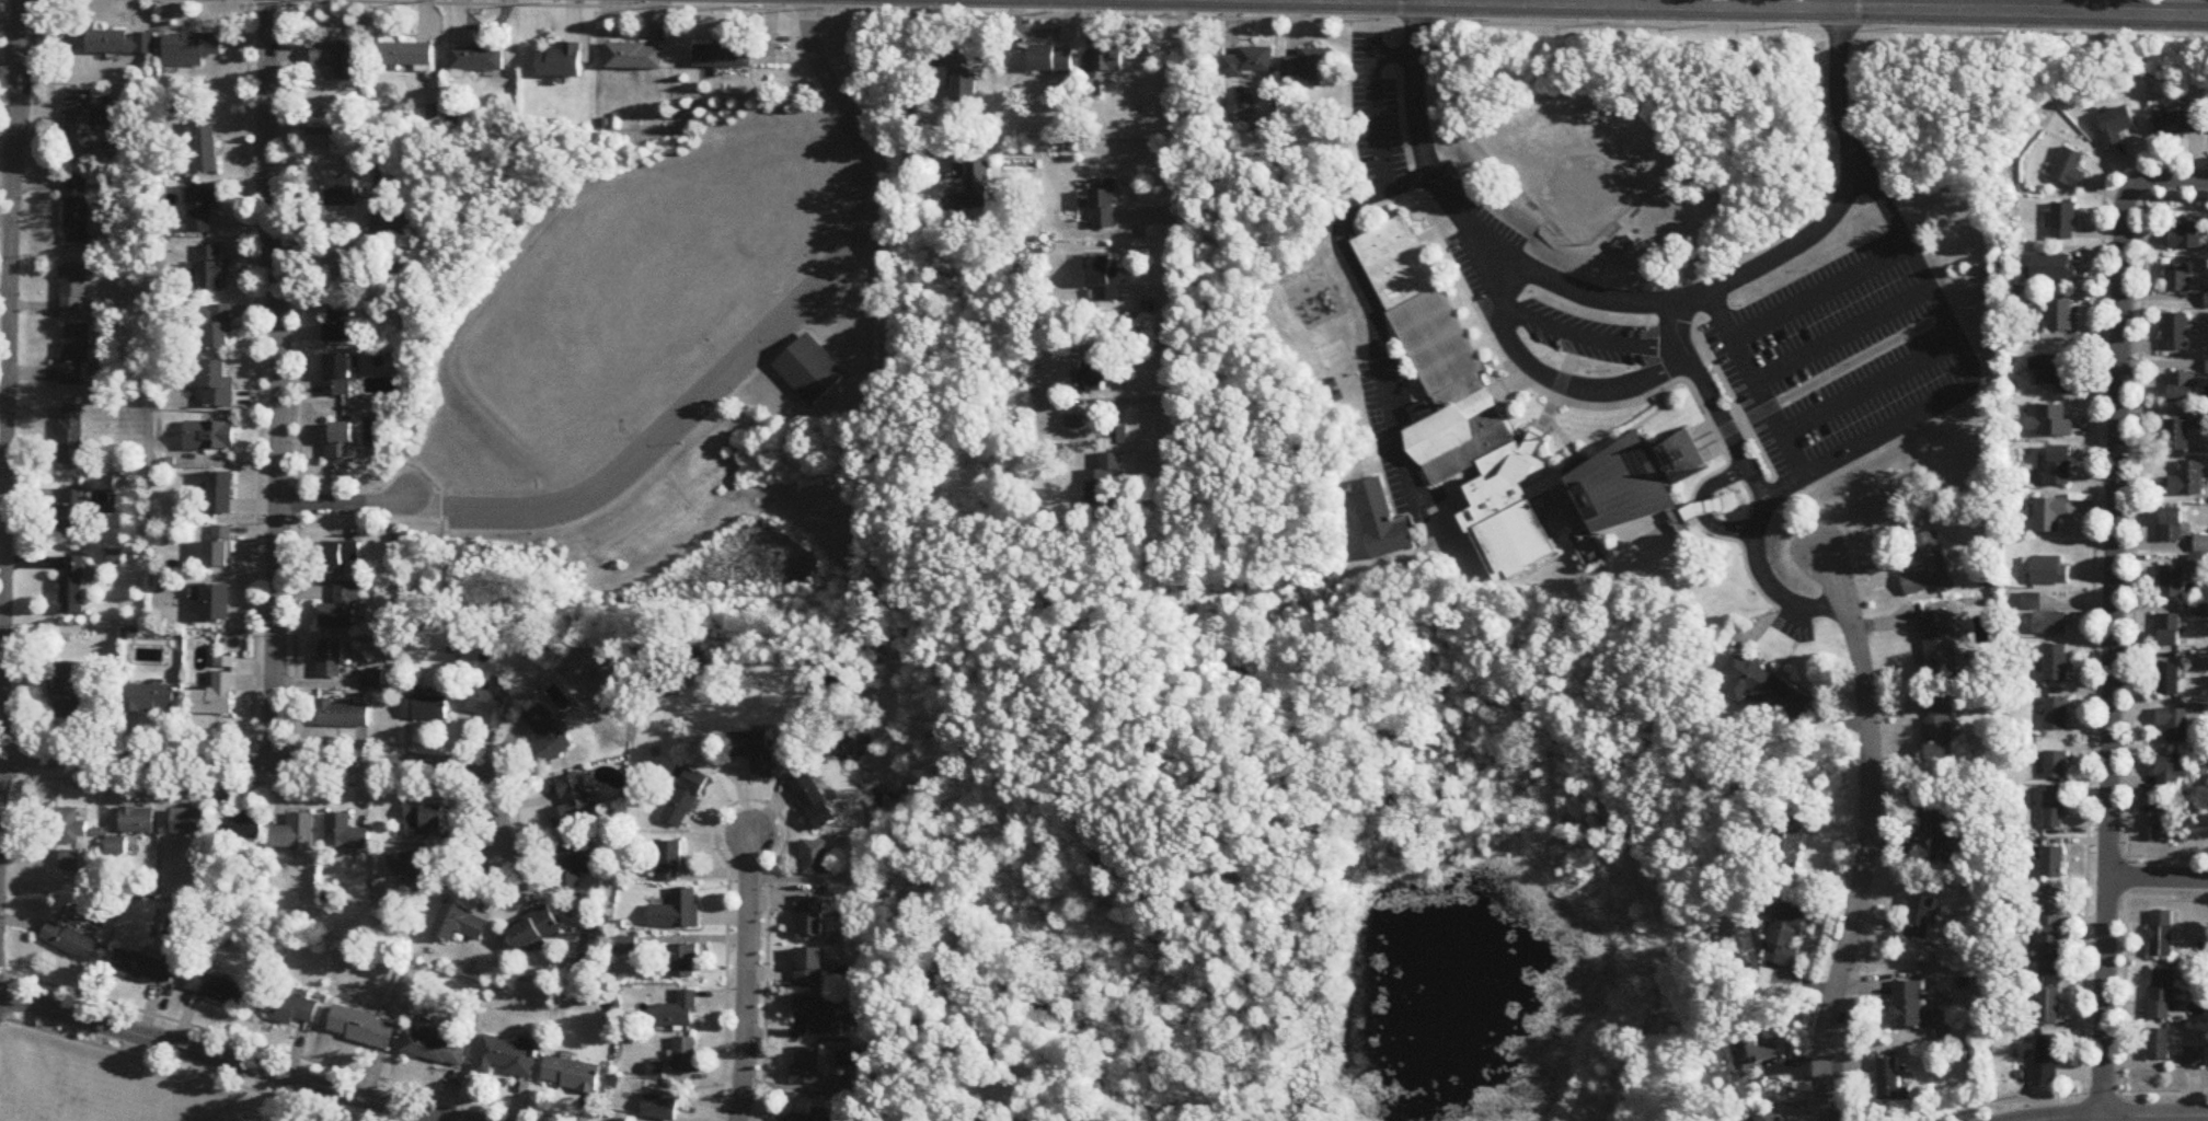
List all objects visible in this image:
road: (1393, 0)
road: (1774, 7)
road: (2044, 7)
road: (1237, 20)
building: (123, 42)
building: (192, 48)
building: (406, 56)
building: (723, 56)
building: (634, 57)
building: (340, 59)
building: (478, 59)
building: (1051, 59)
building: (1107, 60)
building: (561, 61)
building: (1249, 62)
building: (1308, 66)
building: (962, 76)
road: (910, 95)
building: (80, 122)
building: (2182, 123)
building: (2117, 126)
building: (207, 148)
building: (2071, 170)
road: (2169, 178)
building: (970, 188)
building: (344, 192)
road: (2167, 199)
building: (1103, 204)
road: (1187, 204)
building: (204, 208)
building: (78, 210)
building: (2065, 222)
building: (2187, 235)
building: (1624, 245)
road: (1344, 252)
building: (211, 267)
building: (2055, 268)
building: (1105, 279)
building: (2178, 279)
building: (74, 290)
road: (1820, 294)
building: (2207, 299)
road: (1642, 303)
building: (2060, 315)
building: (337, 325)
building: (220, 327)
building: (2176, 333)
road: (1842, 336)
road: (1591, 337)
road: (744, 344)
building: (76, 355)
building: (809, 370)
building: (2054, 372)
building: (341, 374)
building: (1099, 374)
road: (277, 380)
road: (1553, 380)
building: (218, 385)
road: (1757, 386)
road: (1871, 389)
building: (2182, 389)
road: (5, 394)
road: (1714, 405)
building: (2203, 418)
building: (1078, 421)
road: (1913, 421)
building: (2051, 423)
building: (1502, 427)
building: (71, 435)
building: (210, 437)
building: (2176, 437)
building: (340, 441)
building: (2060, 467)
building: (1105, 475)
building: (2189, 481)
building: (221, 493)
road: (346, 505)
building: (71, 512)
building: (2051, 515)
building: (1384, 522)
building: (2173, 525)
building: (220, 547)
building: (340, 555)
building: (1929, 566)
building: (2051, 570)
building: (2173, 582)
building: (73, 586)
road: (2094, 586)
building: (214, 601)
building: (342, 610)
building: (2201, 614)
building: (2046, 617)
building: (2171, 631)
road: (2134, 637)
building: (1940, 645)
road: (2113, 651)
building: (331, 659)
building: (2057, 663)
building: (373, 679)
building: (2169, 679)
building: (1764, 687)
building: (69, 691)
building: (216, 691)
building: (149, 698)
building: (491, 705)
building: (426, 708)
building: (2056, 713)
building: (343, 715)
building: (2176, 725)
building: (1940, 729)
building: (548, 736)
building: (756, 752)
road: (287, 762)
building: (2056, 765)
building: (2172, 773)
building: (687, 798)
building: (572, 801)
building: (813, 801)
building: (2055, 810)
building: (425, 820)
building: (138, 821)
building: (191, 823)
building: (2164, 823)
building: (242, 827)
building: (71, 828)
building: (1943, 830)
building: (296, 834)
building: (347, 834)
road: (1870, 835)
building: (1786, 842)
road: (2158, 857)
building: (816, 858)
building: (71, 860)
building: (671, 862)
building: (2052, 863)
building: (574, 864)
building: (419, 870)
road: (2158, 878)
road: (2157, 898)
building: (2051, 908)
building: (678, 911)
building: (812, 916)
building: (1920, 917)
building: (460, 924)
building: (534, 929)
building: (2162, 934)
building: (1787, 935)
building: (76, 944)
building: (625, 946)
building: (2050, 956)
building: (686, 961)
building: (147, 966)
building: (812, 967)
road: (750, 979)
building: (217, 989)
building: (2162, 995)
building: (1909, 1005)
building: (2049, 1006)
building: (290, 1008)
building: (679, 1012)
building: (820, 1014)
building: (363, 1028)
building: (2159, 1044)
building: (435, 1049)
building: (1753, 1054)
building: (687, 1055)
building: (508, 1056)
road: (218, 1058)
building: (2195, 1058)
building: (2047, 1059)
building: (808, 1065)
building: (573, 1075)
building: (1891, 1085)
road: (2072, 1096)
building: (660, 1109)
building: (1767, 1114)
road: (2123, 1116)
building: (807, 1118)

